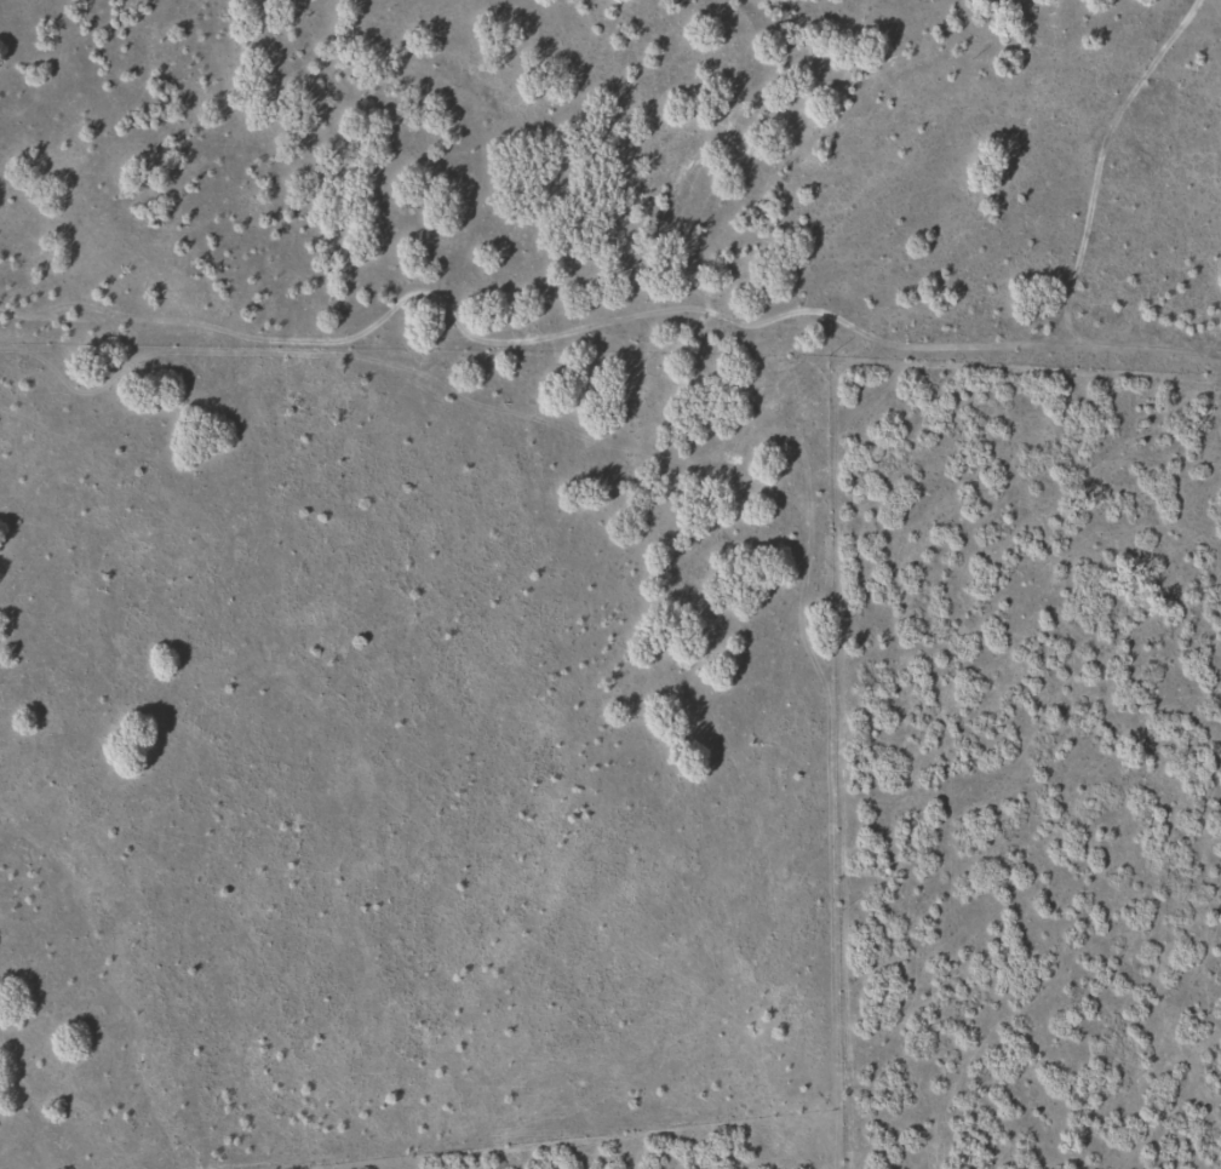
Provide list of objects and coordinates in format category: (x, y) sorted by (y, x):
road: (425, 161)
road: (355, 328)
road: (740, 534)

